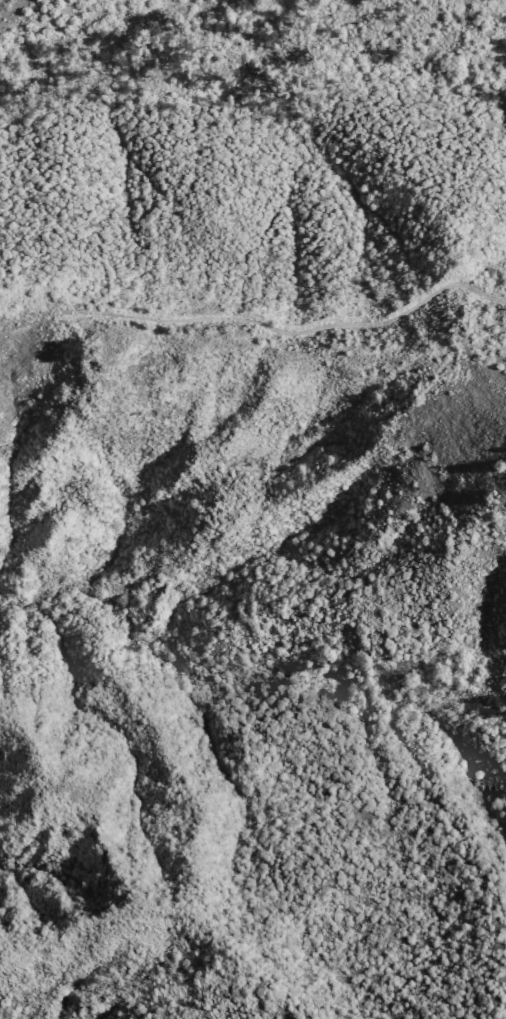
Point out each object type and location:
road: (259, 322)

